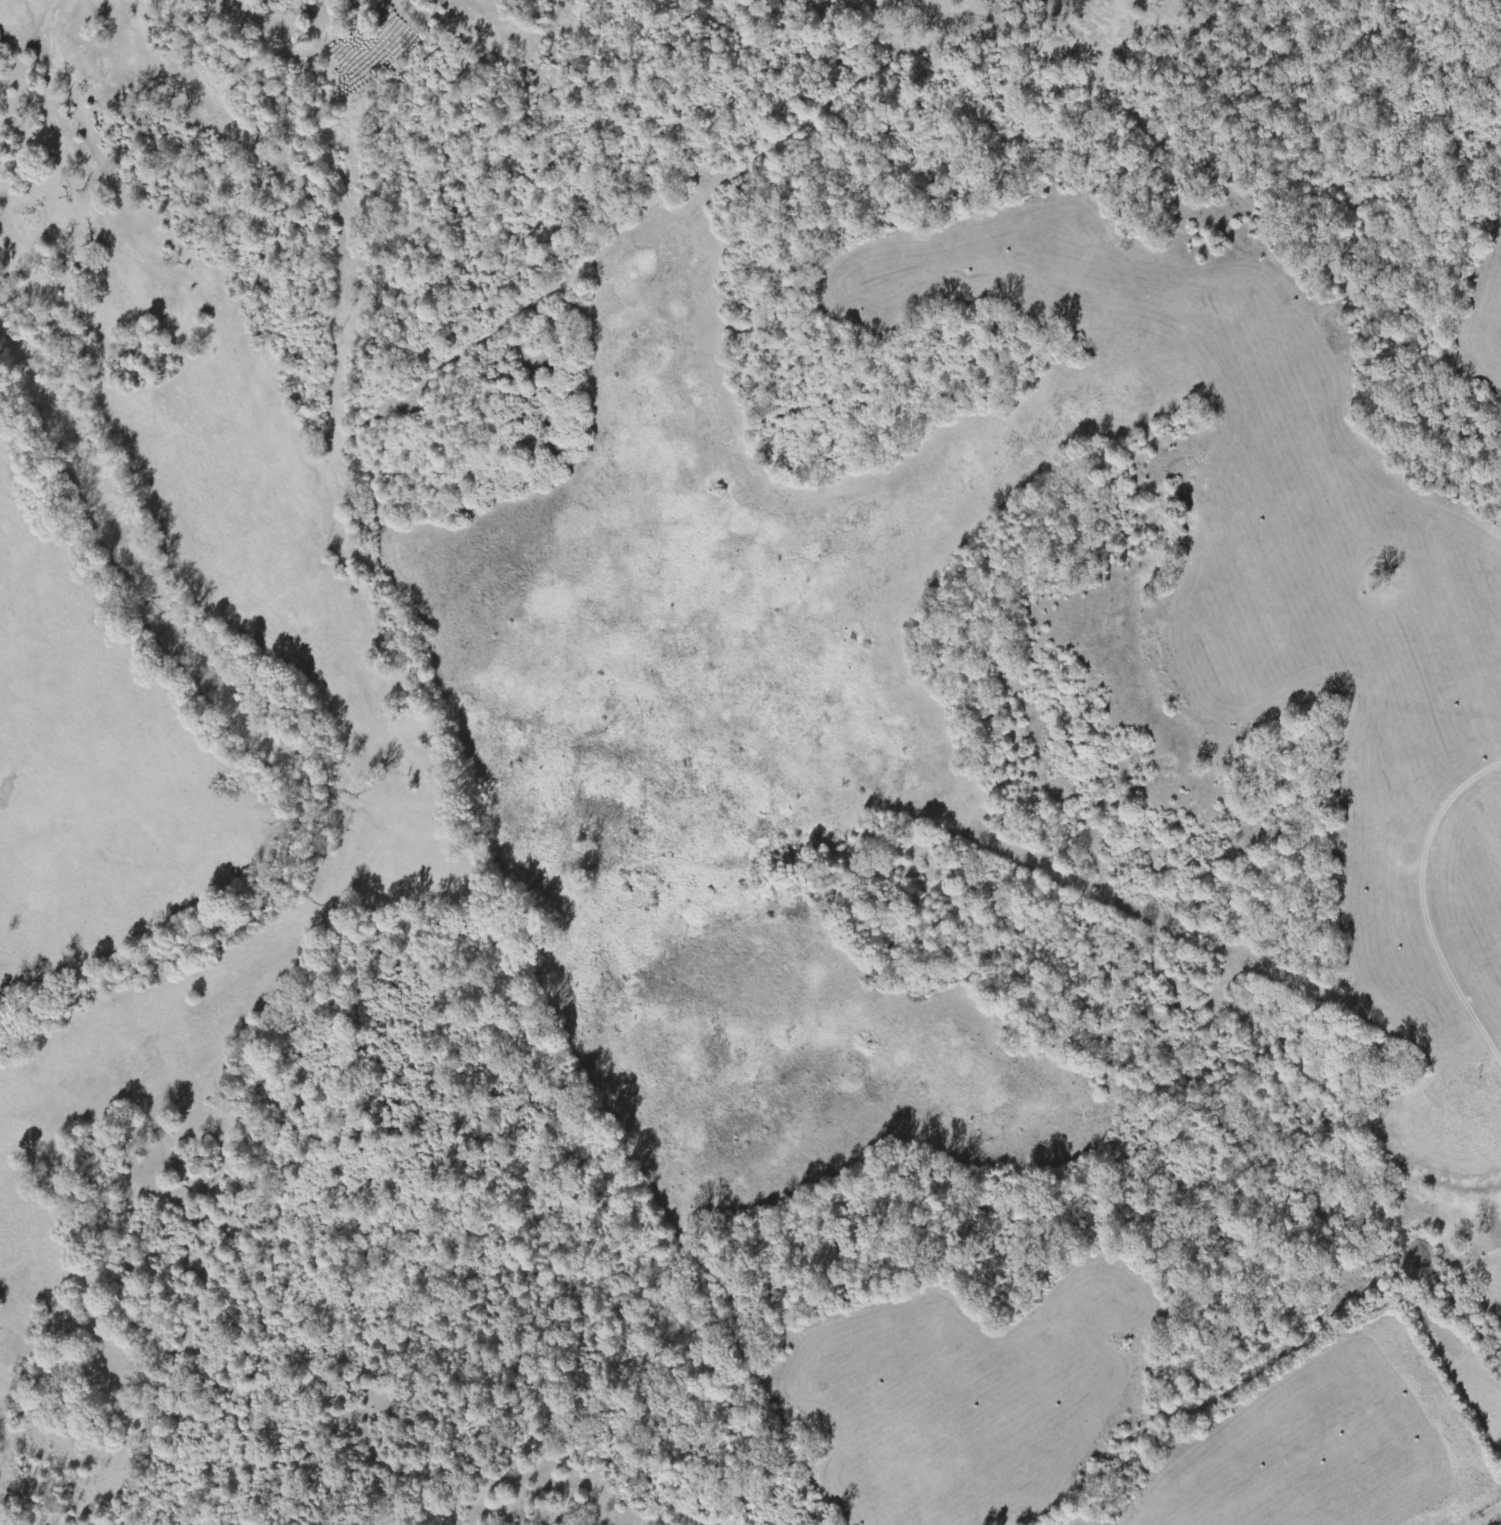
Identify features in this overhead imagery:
road: (1497, 1522)

